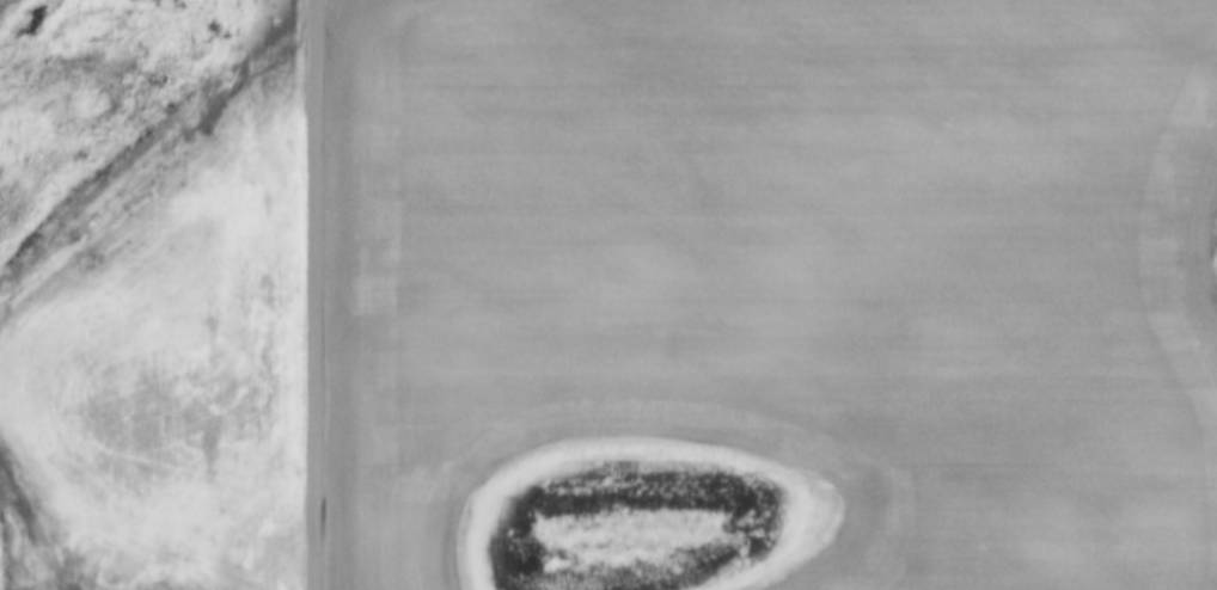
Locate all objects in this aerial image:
road: (314, 295)

